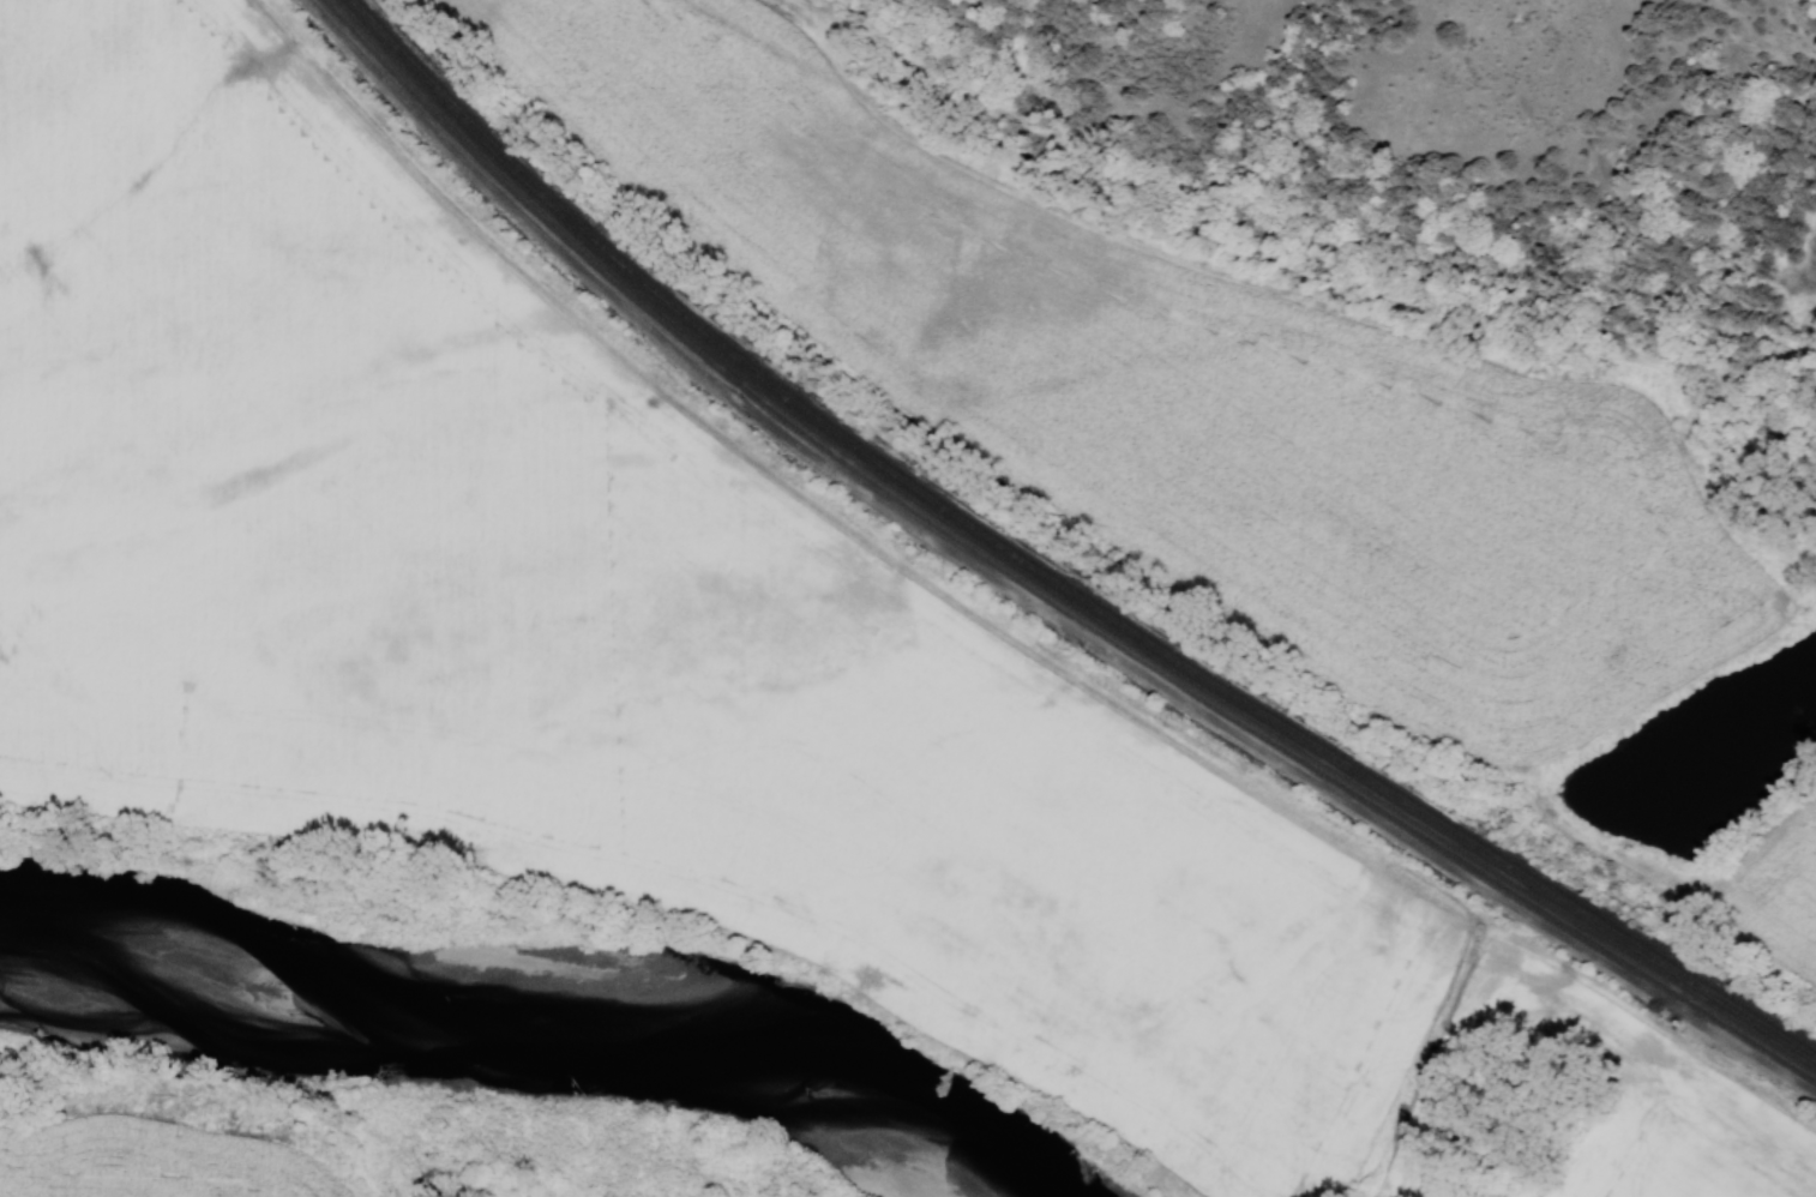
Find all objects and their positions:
railway: (1045, 577)
railway: (1033, 590)
river: (506, 1029)

